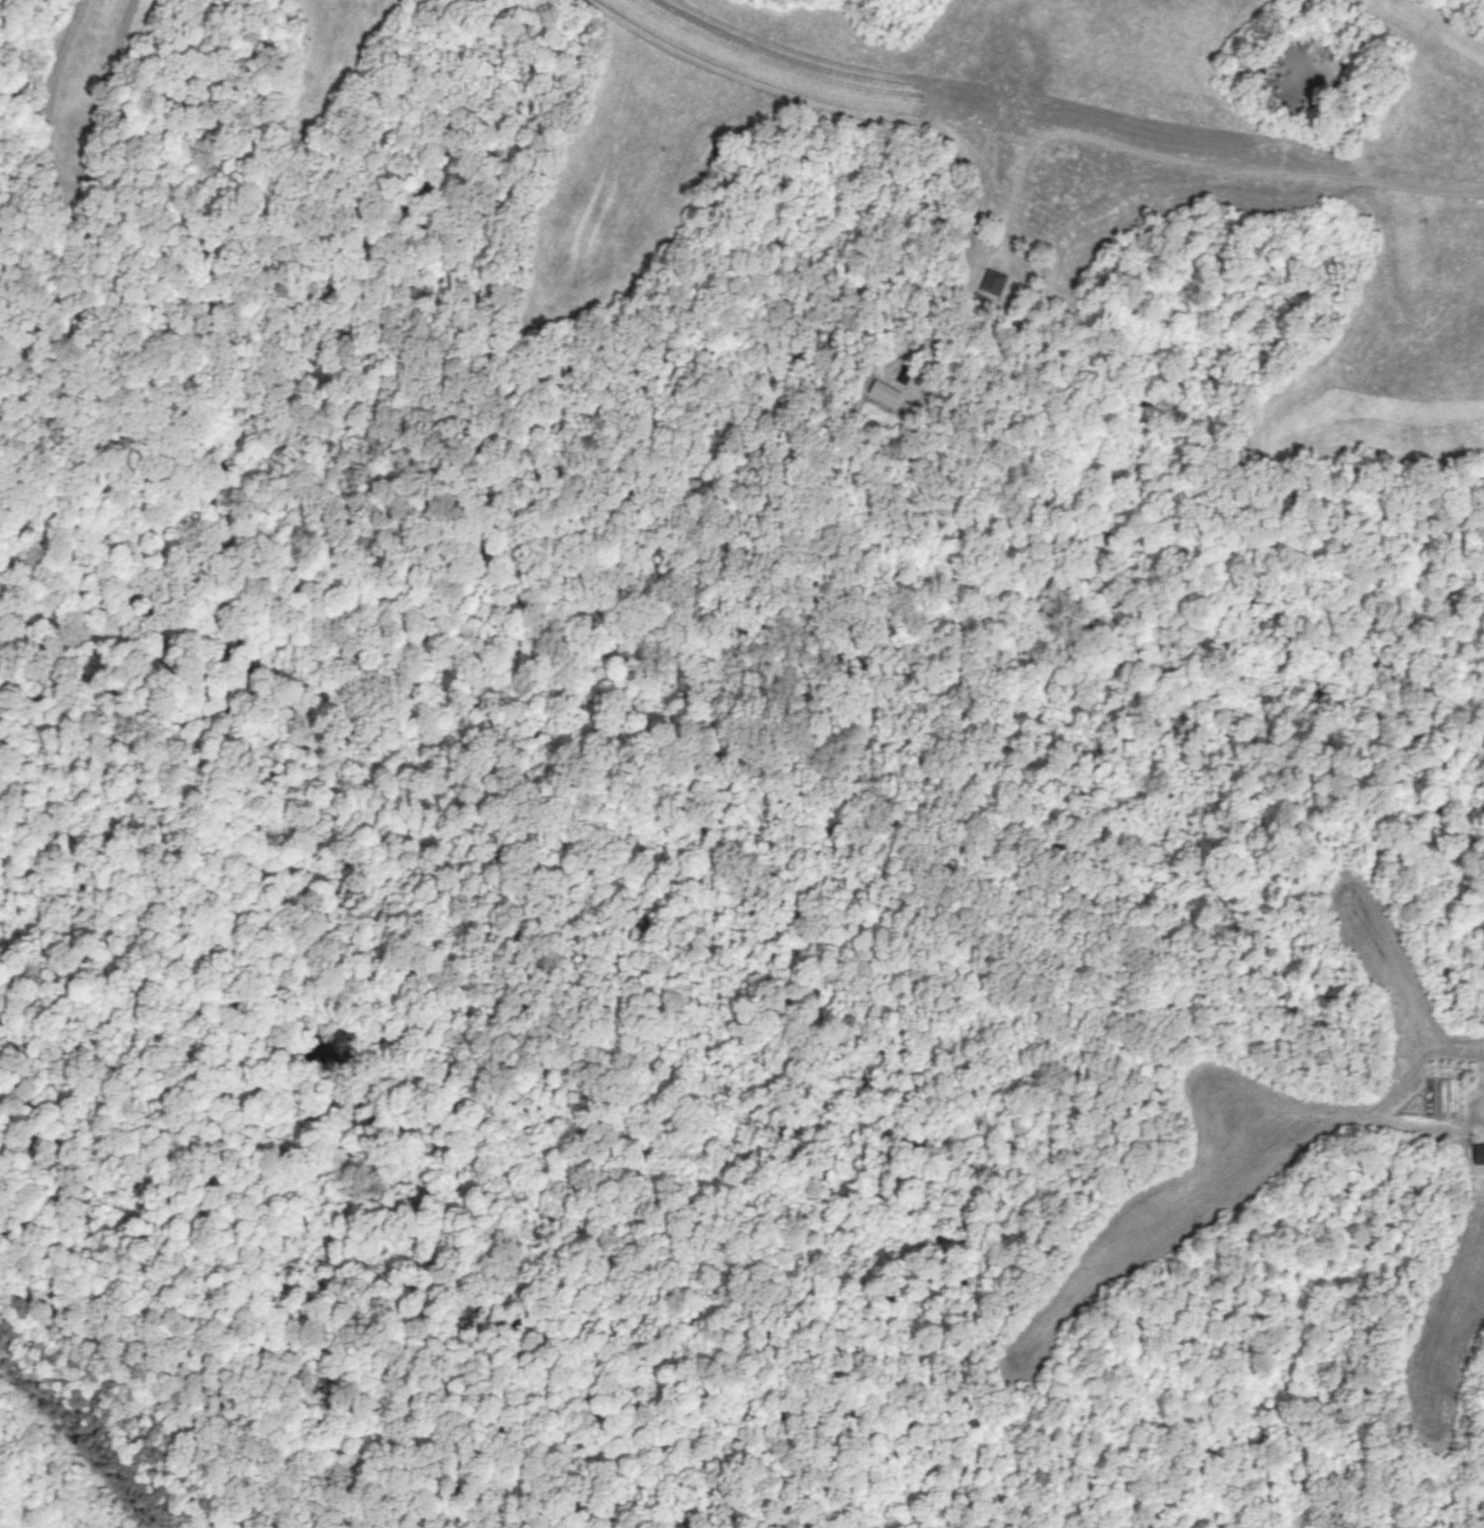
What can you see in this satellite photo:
building: (993, 281)
building: (1479, 1153)

